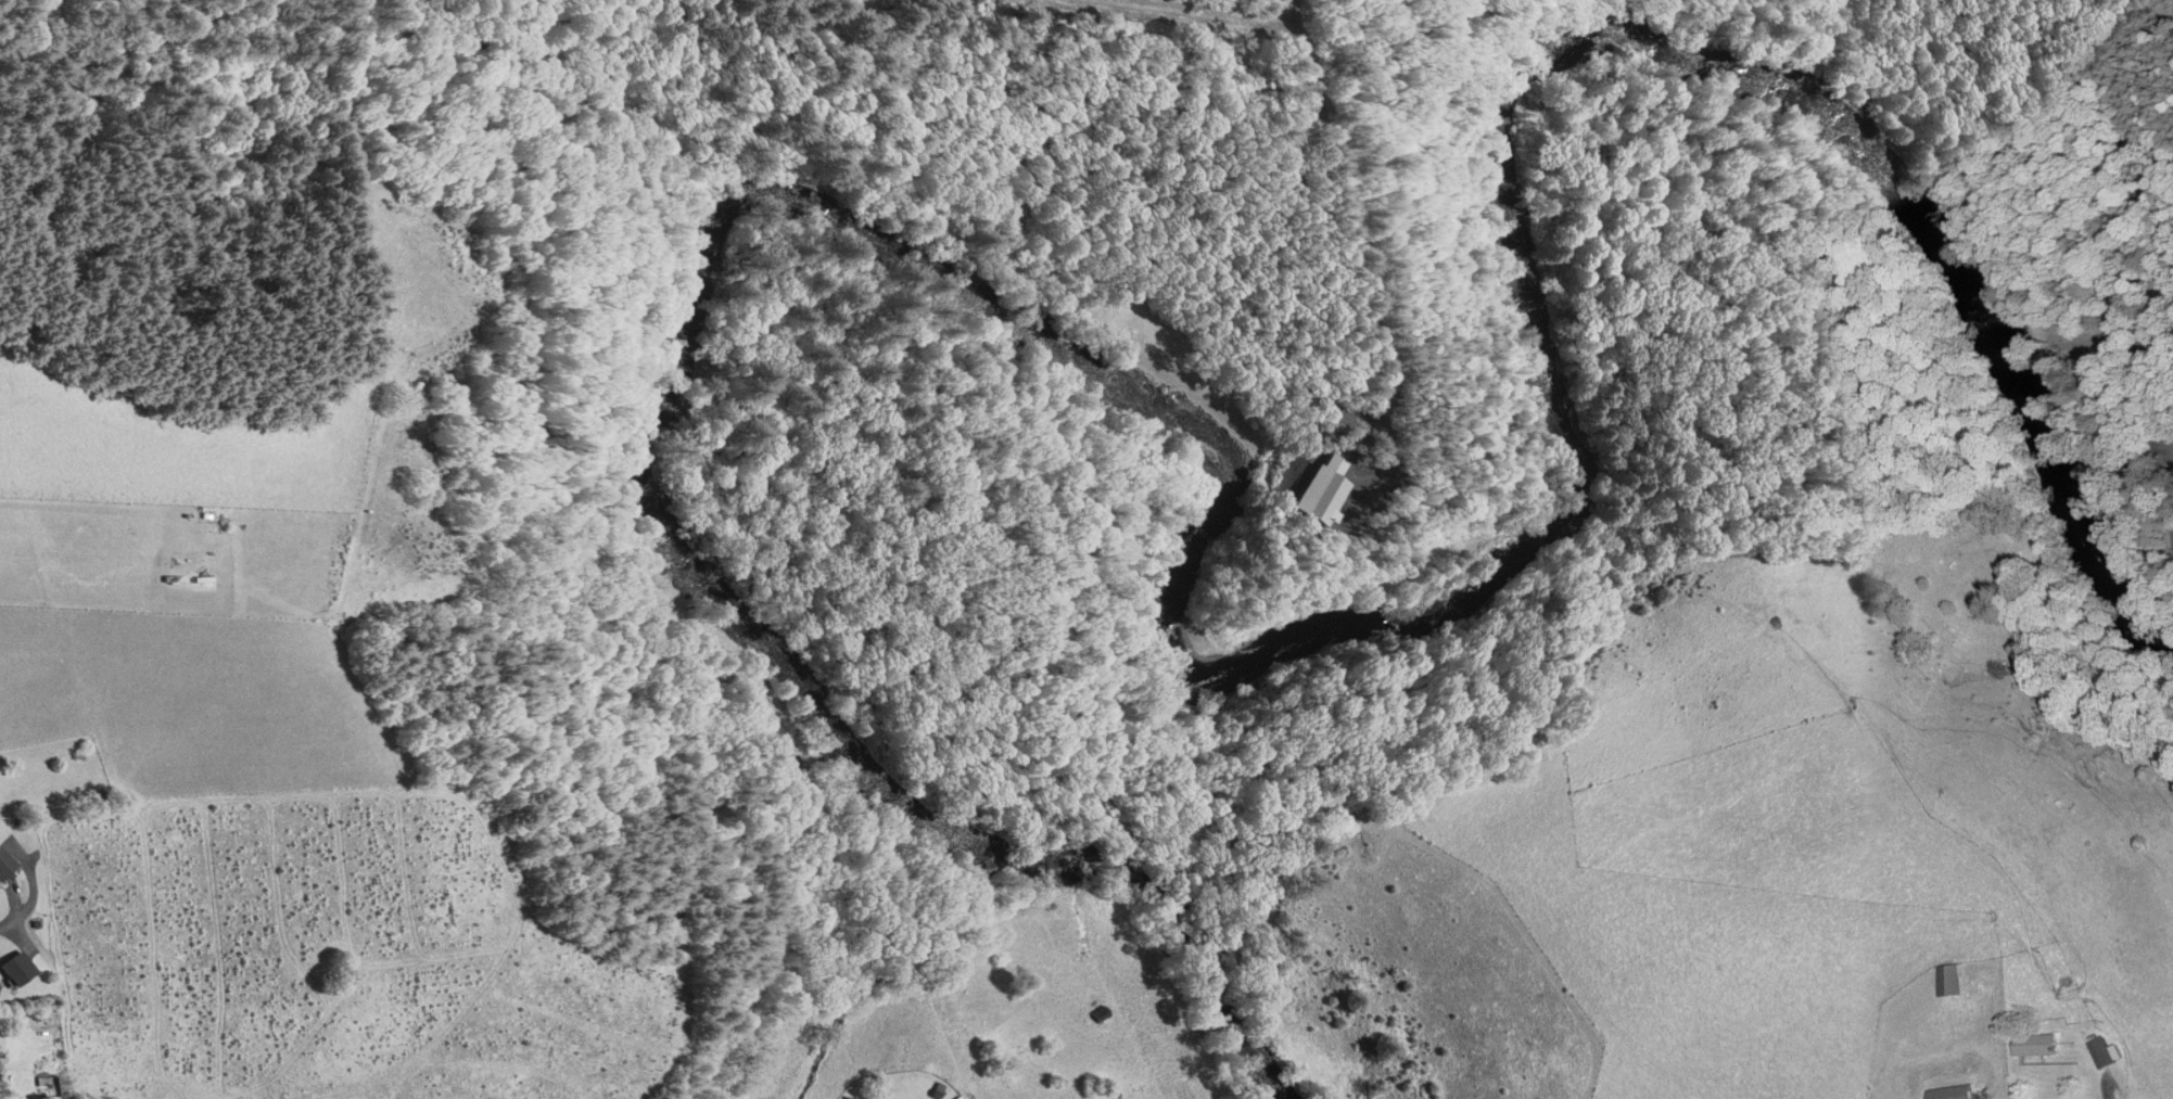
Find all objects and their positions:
road: (2088, 7)
road: (2153, 10)
river: (2023, 356)
road: (2149, 358)
river: (653, 485)
road: (2171, 533)
river: (1415, 606)
river: (1121, 849)
building: (2, 864)
road: (13, 913)
building: (11, 969)
building: (1945, 980)
building: (2033, 1045)
building: (2100, 1052)
building: (1947, 1094)

